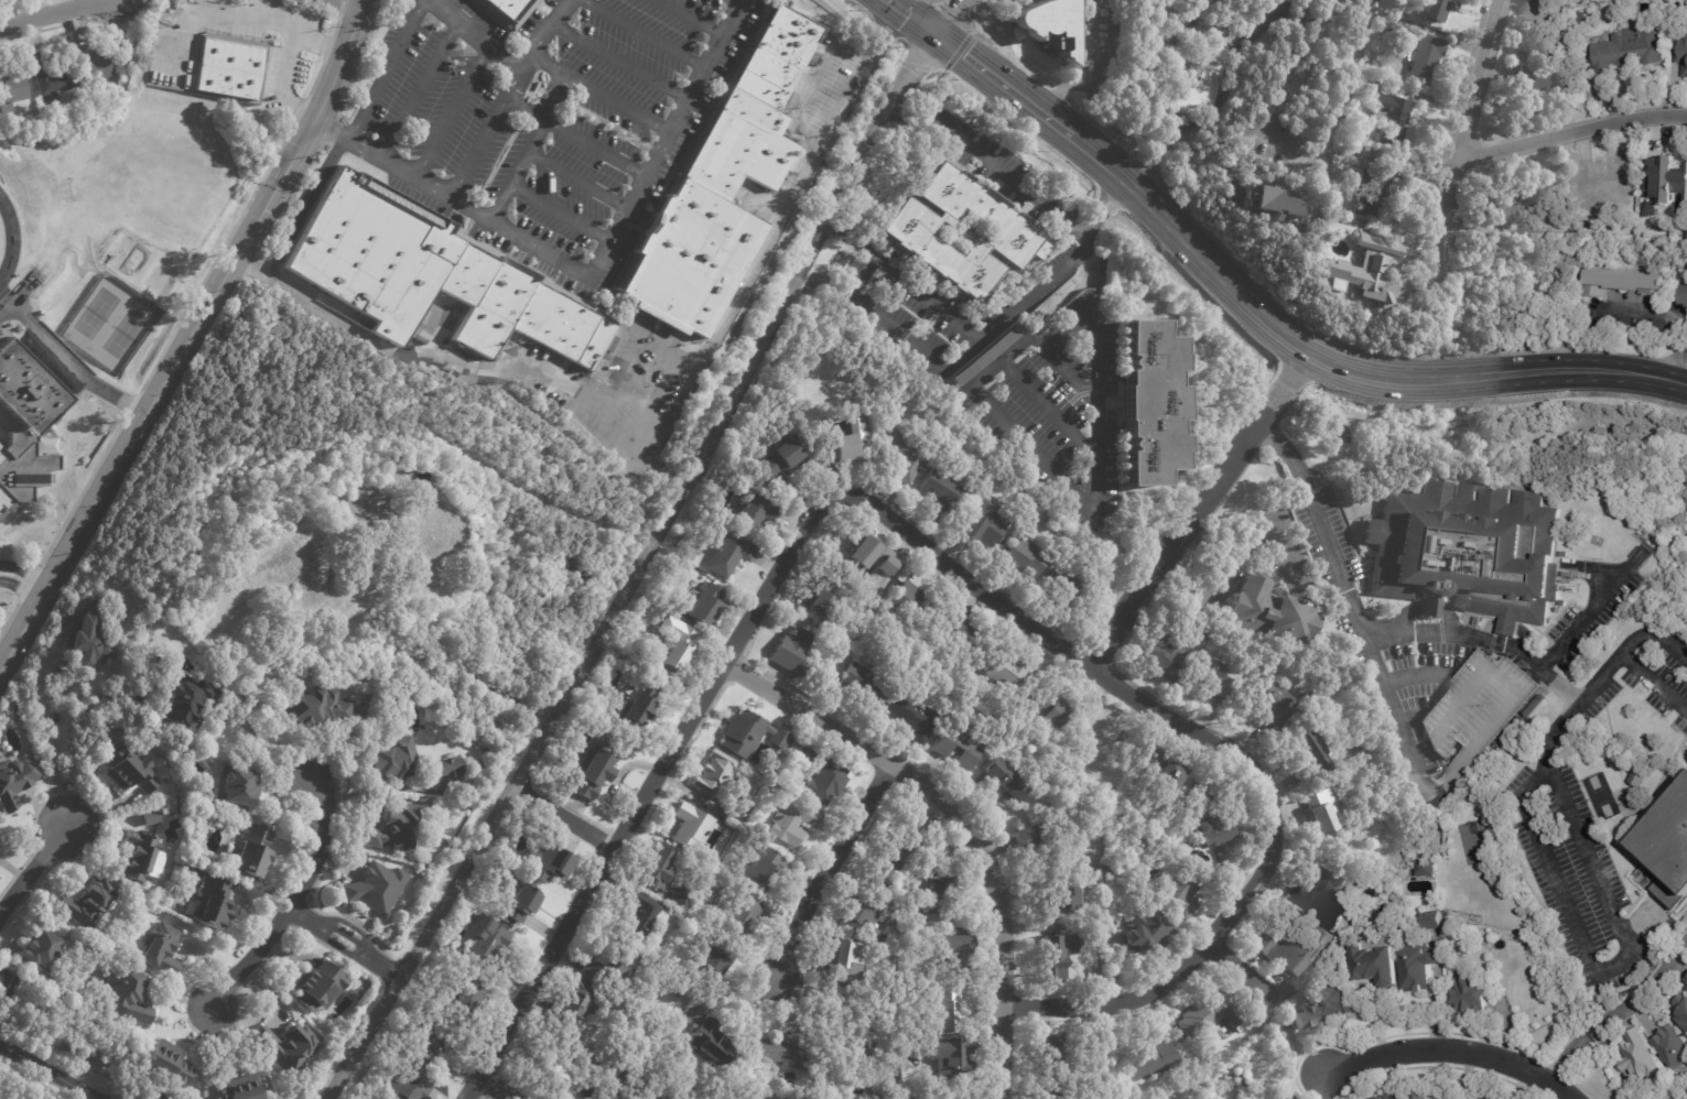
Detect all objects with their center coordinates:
road: (733, 3)
road: (346, 4)
traffic signals: (958, 8)
road: (1191, 9)
building: (1435, 9)
building: (507, 10)
building: (1348, 10)
road: (225, 11)
road: (954, 12)
road: (51, 13)
traffic signals: (908, 15)
road: (950, 17)
road: (911, 18)
road: (688, 19)
building: (1049, 22)
building: (1403, 31)
road: (644, 34)
building: (1683, 47)
building: (1627, 50)
building: (1352, 51)
traffic signals: (964, 56)
building: (1426, 57)
road: (289, 59)
building: (819, 62)
building: (90, 63)
road: (511, 64)
road: (621, 64)
building: (231, 66)
road: (387, 70)
traffic signals: (910, 70)
road: (1097, 73)
building: (1212, 73)
building: (1542, 74)
building: (53, 78)
road: (1003, 85)
road: (1283, 86)
building: (11, 88)
road: (420, 88)
road: (602, 94)
building: (789, 97)
road: (1467, 106)
road: (1220, 109)
building: (845, 110)
road: (453, 112)
parking lot: (538, 115)
building: (1391, 115)
road: (485, 132)
road: (1570, 132)
road: (577, 135)
road: (821, 140)
building: (1344, 148)
road: (1244, 154)
road: (863, 156)
road: (992, 165)
road: (521, 170)
road: (581, 182)
building: (1602, 183)
building: (1670, 185)
building: (722, 187)
building: (1372, 188)
building: (1270, 200)
road: (303, 206)
building: (1517, 206)
road: (563, 215)
building: (1015, 232)
park: (8, 240)
building: (1366, 269)
road: (592, 274)
building: (1619, 280)
building: (436, 281)
building: (1681, 295)
road: (212, 296)
road: (736, 301)
park: (96, 313)
road: (1641, 313)
road: (990, 330)
park: (125, 334)
road: (897, 335)
building: (988, 355)
road: (434, 356)
road: (1317, 357)
road: (66, 360)
road: (1062, 366)
road: (1665, 380)
building: (1145, 402)
road: (1046, 407)
road: (1093, 411)
road: (998, 416)
building: (25, 425)
building: (848, 443)
building: (909, 455)
building: (783, 460)
road: (659, 464)
building: (943, 491)
road: (1199, 509)
building: (367, 514)
building: (755, 514)
building: (983, 527)
road: (929, 547)
road: (1243, 548)
building: (1469, 549)
building: (731, 554)
building: (873, 554)
building: (1565, 555)
building: (1025, 557)
building: (1066, 587)
road: (22, 588)
building: (915, 603)
building: (705, 605)
building: (821, 606)
building: (1272, 612)
road: (1581, 619)
road: (24, 631)
road: (1366, 633)
building: (959, 636)
building: (87, 639)
building: (679, 650)
building: (791, 652)
building: (1168, 656)
building: (1010, 671)
road: (1418, 674)
building: (1223, 679)
building: (865, 683)
road: (1655, 684)
road: (564, 693)
building: (1273, 699)
building: (184, 701)
building: (316, 706)
building: (1535, 706)
building: (1053, 709)
building: (636, 710)
road: (1396, 712)
building: (1477, 712)
parking garage: (1477, 712)
building: (913, 719)
road: (1409, 719)
building: (749, 736)
road: (259, 740)
road: (51, 747)
building: (959, 747)
building: (1311, 751)
road: (1548, 757)
building: (391, 758)
building: (1159, 766)
building: (445, 768)
building: (128, 769)
building: (595, 769)
building: (715, 774)
building: (823, 780)
building: (15, 781)
building: (1008, 781)
building: (238, 786)
park: (1599, 796)
building: (1322, 813)
building: (147, 815)
road: (565, 816)
road: (964, 819)
building: (794, 821)
building: (691, 827)
building: (392, 828)
building: (1211, 828)
building: (1035, 840)
park: (1474, 841)
building: (1667, 848)
building: (246, 852)
building: (138, 855)
building: (901, 855)
building: (512, 858)
building: (545, 862)
building: (1427, 868)
road: (829, 869)
building: (761, 870)
road: (33, 873)
building: (666, 874)
road: (1557, 885)
building: (376, 886)
building: (1180, 893)
building: (1316, 894)
building: (940, 895)
building: (1370, 895)
road: (299, 896)
building: (87, 902)
building: (1064, 902)
building: (214, 904)
building: (520, 904)
building: (1110, 913)
building: (641, 917)
building: (864, 917)
building: (742, 920)
building: (1432, 920)
building: (1148, 932)
building: (483, 940)
road: (346, 944)
building: (39, 948)
building: (162, 950)
building: (1286, 950)
building: (1058, 954)
building: (956, 955)
building: (1377, 959)
building: (842, 961)
building: (710, 965)
building: (1420, 967)
building: (612, 973)
road: (1244, 973)
building: (1685, 984)
building: (313, 986)
building: (1469, 993)
building: (128, 995)
building: (467, 997)
road: (1640, 1000)
building: (1324, 1006)
building: (571, 1008)
building: (950, 1010)
building: (1681, 1010)
building: (1207, 1013)
road: (1587, 1015)
building: (433, 1035)
building: (283, 1045)
building: (707, 1046)
building: (857, 1048)
building: (1673, 1049)
road: (1451, 1051)
building: (785, 1053)
building: (1640, 1055)
building: (1055, 1056)
building: (1153, 1060)
road: (1565, 1062)
building: (165, 1063)
building: (952, 1064)
road: (46, 1071)
building: (553, 1071)
building: (753, 1080)
road: (1328, 1084)
building: (409, 1086)
building: (241, 1088)
building: (886, 1088)
road: (498, 1089)
building: (1051, 1093)
building: (1420, 1095)
building: (610, 1096)
building: (656, 1097)
building: (671, 1097)
building: (1288, 1097)
building: (1397, 1097)
building: (1490, 1097)
building: (0, 1098)
building: (1505, 1098)

